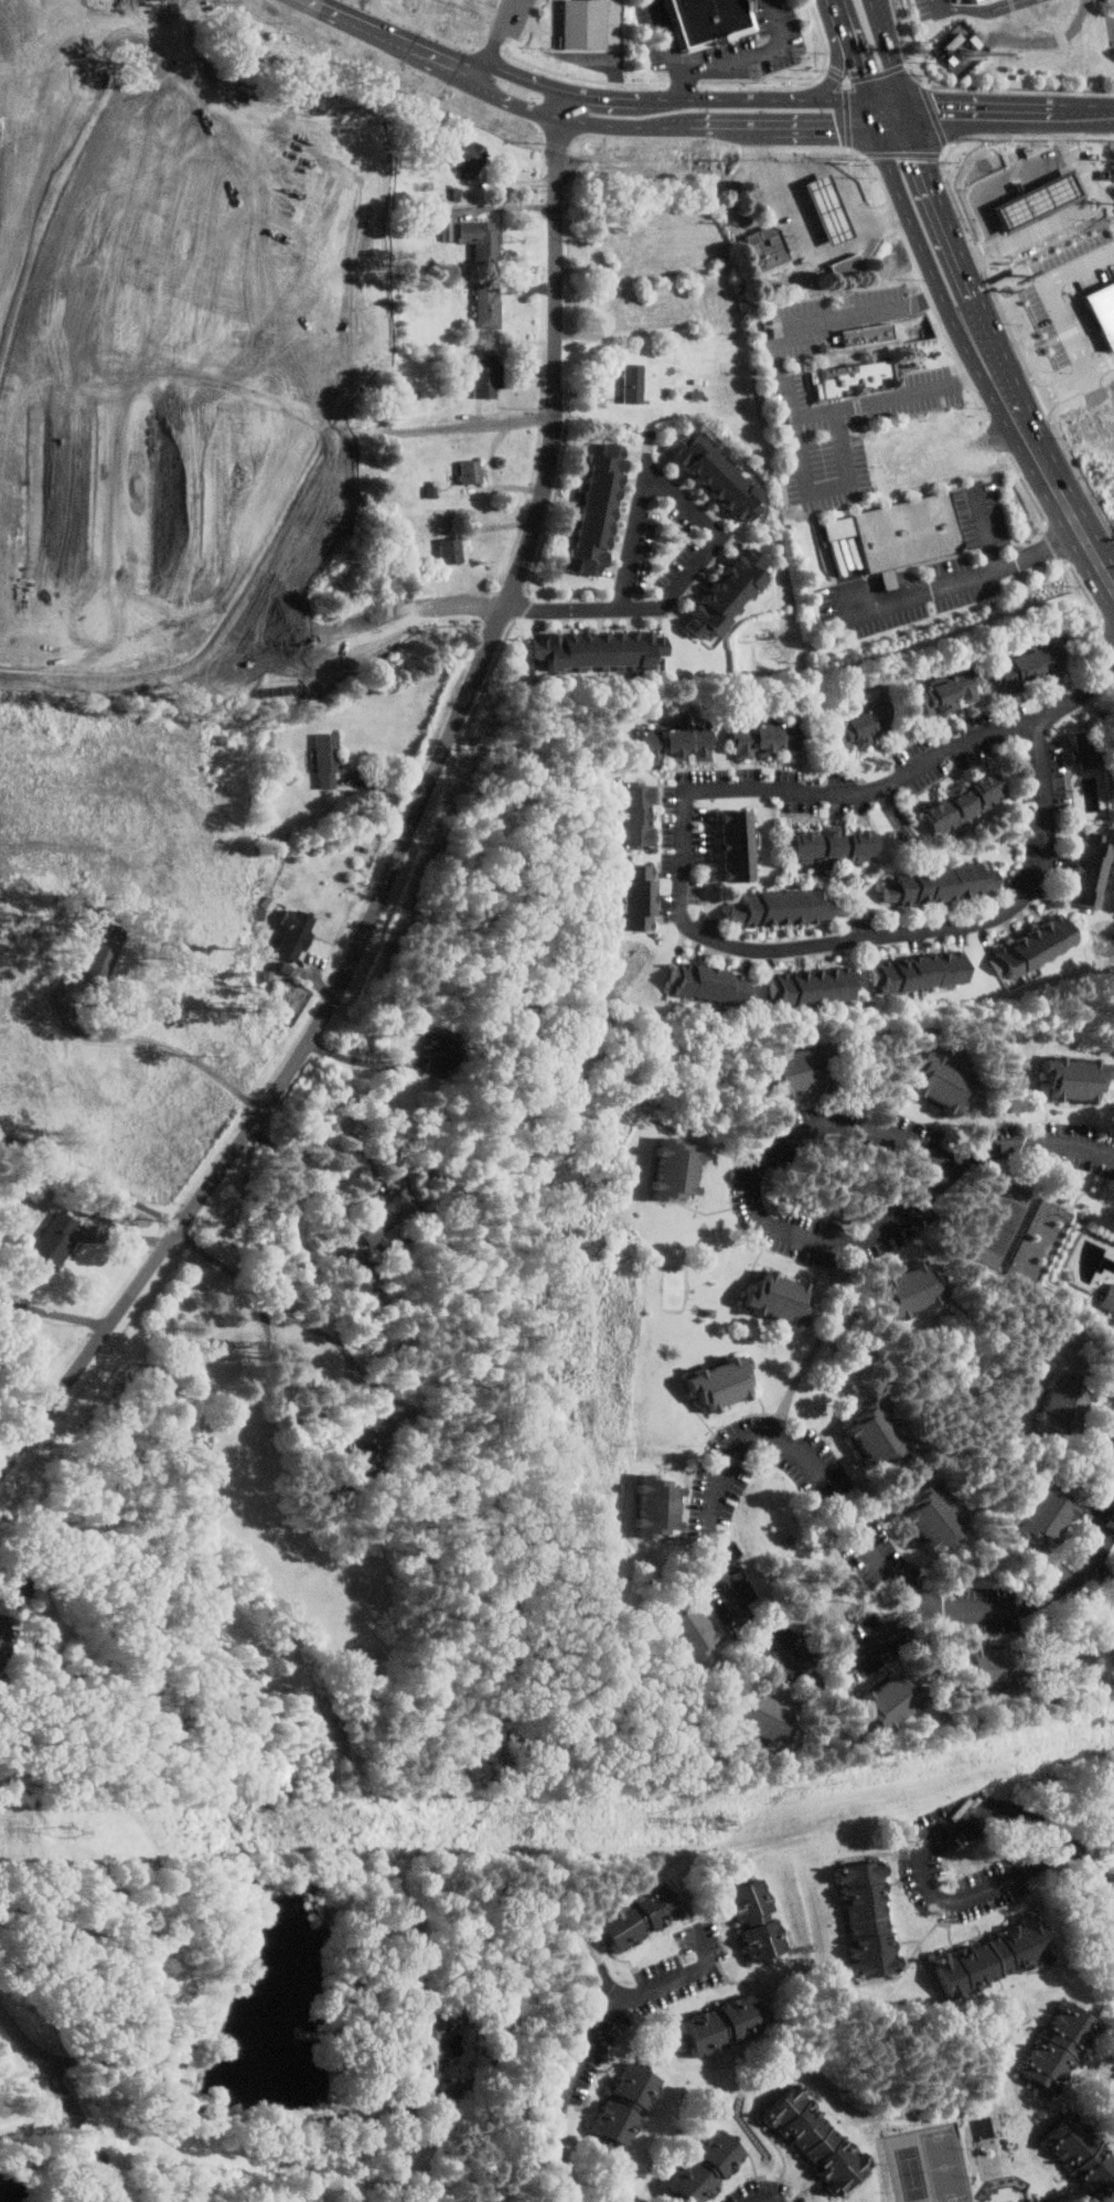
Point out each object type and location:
building: (970, 0)
road: (943, 3)
road: (331, 8)
road: (984, 9)
road: (840, 10)
building: (715, 21)
building: (591, 26)
road: (496, 38)
road: (416, 45)
building: (961, 45)
road: (618, 47)
road: (672, 49)
road: (890, 53)
road: (754, 55)
road: (839, 67)
traffic signals: (860, 68)
road: (861, 73)
road: (525, 76)
road: (611, 96)
road: (781, 98)
traffic signals: (941, 108)
road: (1010, 109)
road: (892, 117)
road: (578, 118)
road: (717, 127)
road: (812, 127)
traffic signals: (840, 127)
building: (470, 154)
traffic signals: (929, 160)
road: (834, 173)
building: (1037, 193)
building: (825, 209)
gas station: (825, 209)
road: (1075, 209)
building: (448, 231)
road: (957, 233)
road: (811, 237)
building: (481, 238)
building: (767, 247)
road: (925, 250)
building: (844, 265)
building: (488, 307)
building: (1102, 310)
building: (184, 313)
building: (864, 334)
road: (1079, 336)
road: (1105, 370)
building: (490, 376)
building: (858, 377)
building: (639, 384)
road: (789, 393)
road: (1022, 416)
building: (470, 471)
building: (724, 474)
road: (827, 491)
building: (604, 510)
road: (986, 527)
road: (1081, 527)
building: (898, 533)
road: (715, 542)
building: (450, 549)
road: (966, 576)
building: (725, 592)
building: (598, 651)
building: (1027, 667)
building: (942, 693)
road: (1079, 695)
building: (857, 728)
building: (765, 741)
building: (675, 745)
building: (1084, 749)
building: (328, 759)
building: (962, 804)
building: (635, 815)
road: (411, 830)
building: (831, 845)
building: (735, 846)
building: (1083, 874)
building: (936, 884)
building: (633, 898)
building: (779, 908)
building: (293, 933)
road: (703, 933)
building: (1033, 944)
building: (919, 972)
building: (708, 984)
building: (813, 987)
road: (161, 1044)
building: (438, 1052)
road: (358, 1058)
building: (789, 1070)
building: (1067, 1081)
building: (934, 1084)
road: (1031, 1144)
road: (332, 1145)
building: (668, 1172)
road: (92, 1177)
road: (753, 1198)
building: (388, 1215)
park: (1007, 1218)
building: (55, 1238)
building: (360, 1279)
building: (900, 1291)
building: (1108, 1295)
building: (772, 1300)
road: (54, 1312)
road: (294, 1313)
building: (730, 1383)
road: (21, 1401)
building: (1060, 1408)
building: (866, 1441)
building: (362, 1457)
building: (668, 1504)
road: (715, 1506)
building: (1039, 1519)
building: (923, 1521)
road: (1101, 1573)
road: (1040, 1601)
building: (6, 1626)
building: (698, 1629)
building: (992, 1665)
building: (891, 1699)
building: (764, 1717)
power tower: (719, 1825)
power tower: (73, 1832)
road: (921, 1862)
road: (1099, 1867)
building: (641, 1915)
building: (869, 1918)
building: (758, 1920)
building: (994, 1957)
building: (429, 2024)
building: (724, 2024)
road: (597, 2037)
building: (1061, 2046)
road: (69, 2098)
building: (626, 2105)
road: (250, 2121)
building: (817, 2139)
building: (1083, 2153)
park: (930, 2166)
building: (708, 2168)
dam: (43, 2181)
dam: (44, 2193)
road: (768, 2198)
building: (1052, 2201)

